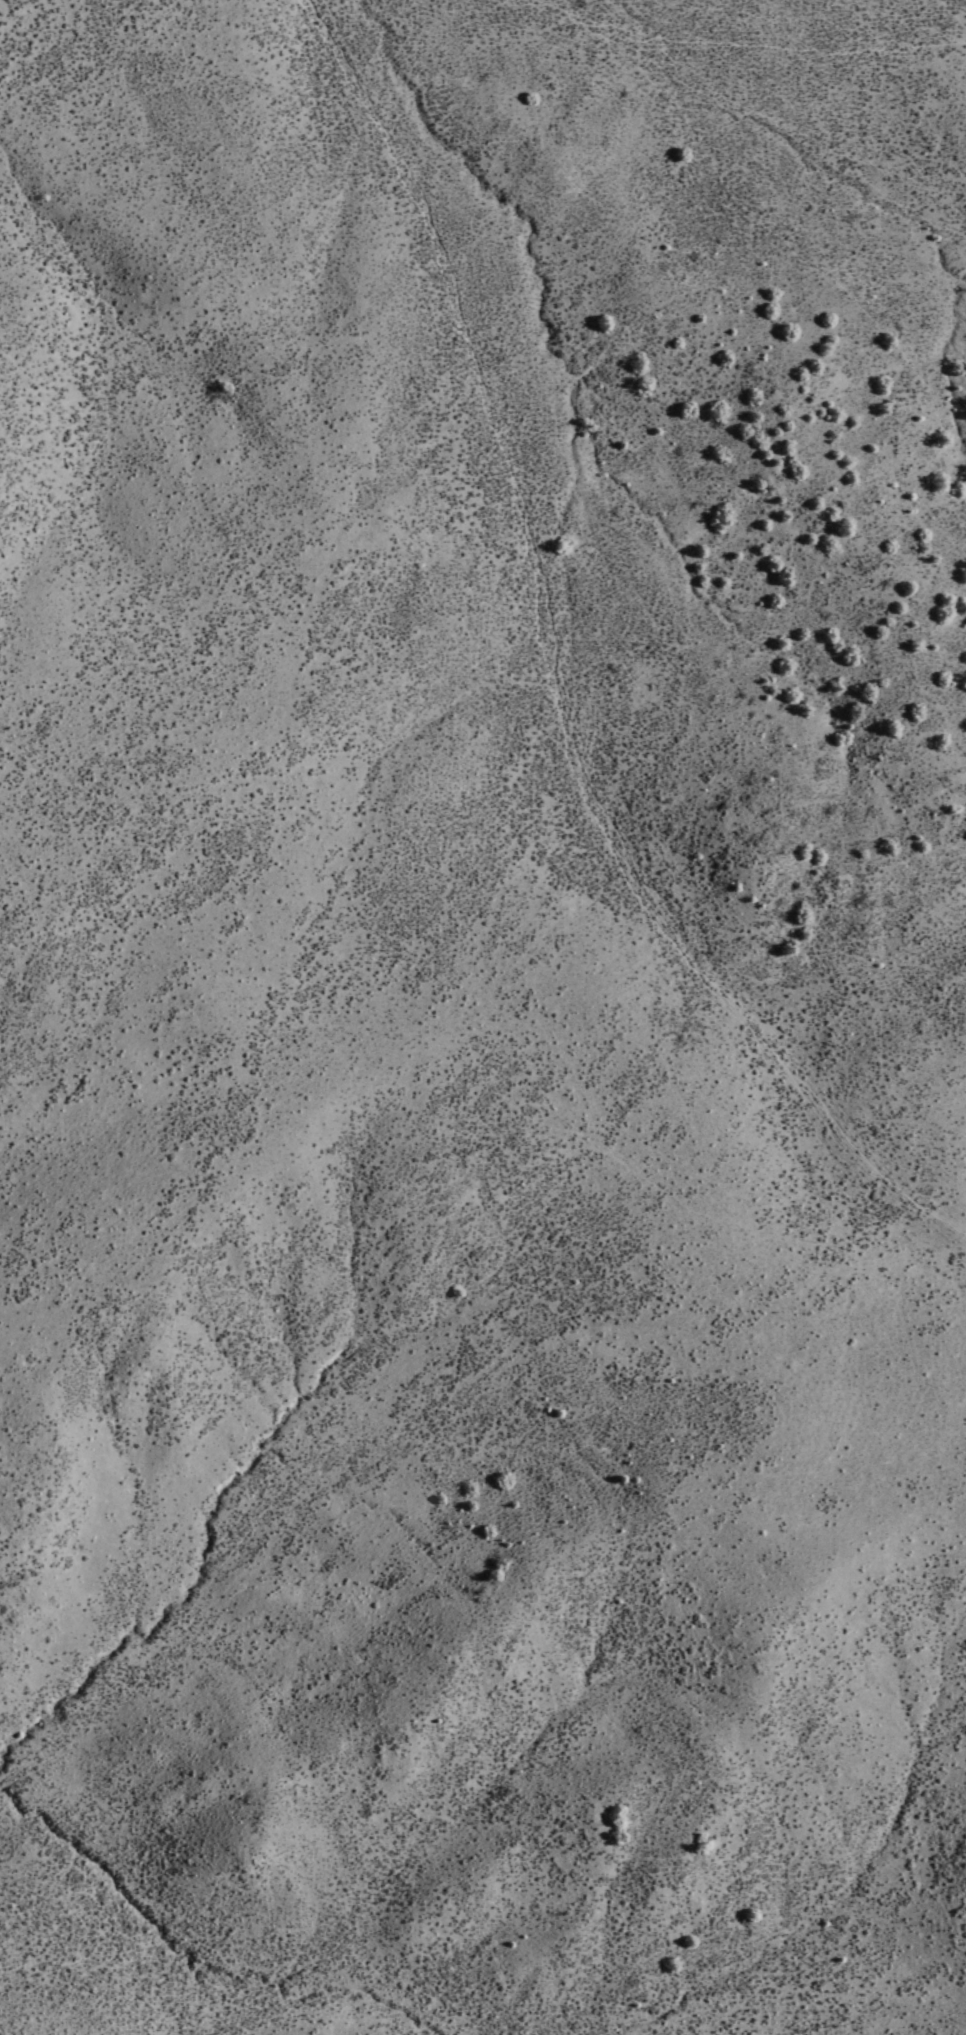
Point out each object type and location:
crop: (10, 5)
crop: (412, 261)

